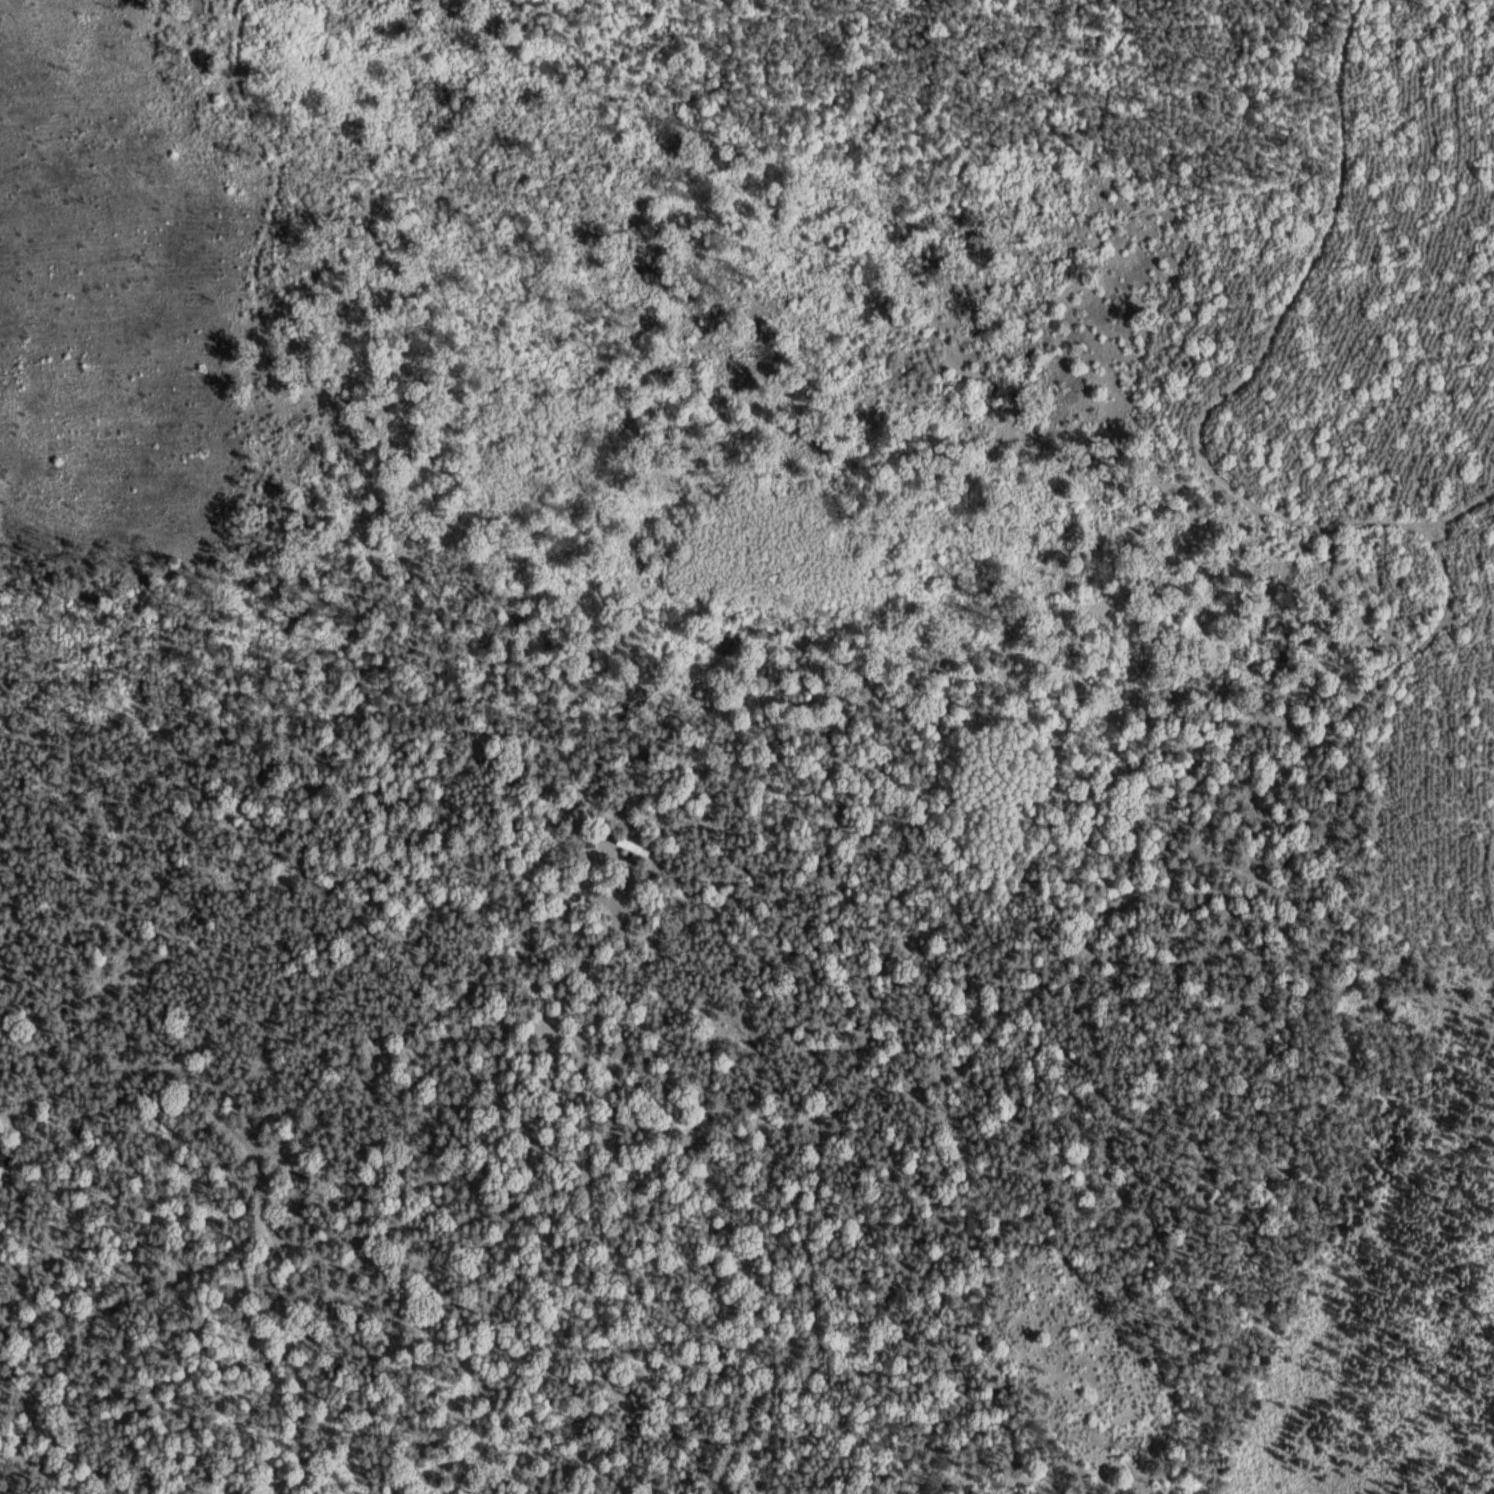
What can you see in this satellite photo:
road: (1460, 513)
building: (632, 850)
road: (1137, 881)

